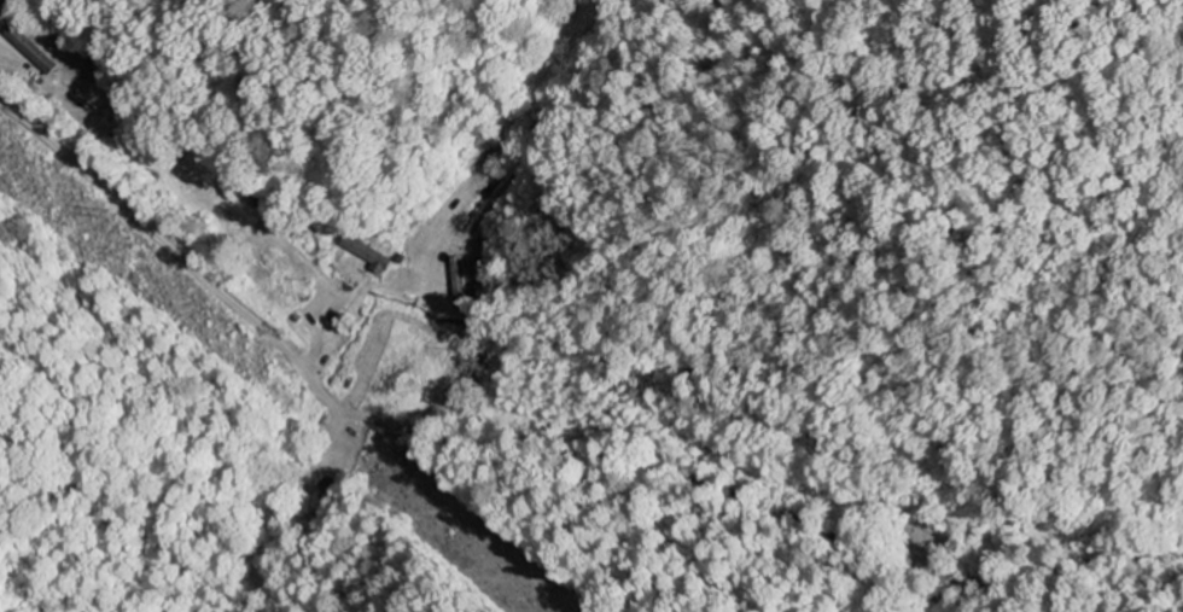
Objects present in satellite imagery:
building: (33, 52)
building: (371, 257)
road: (544, 453)

